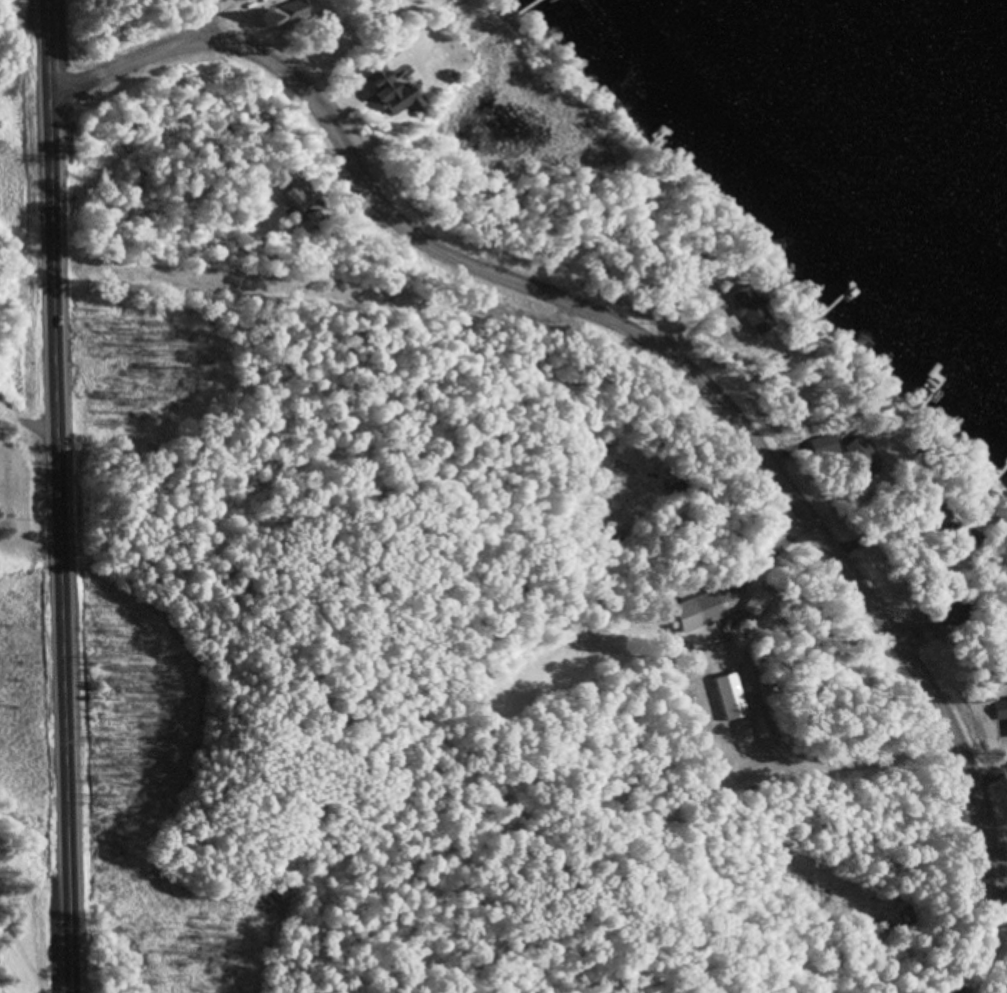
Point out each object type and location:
building: (277, 0)
building: (301, 11)
road: (253, 22)
road: (139, 52)
building: (406, 101)
building: (293, 199)
building: (755, 309)
road: (703, 379)
building: (828, 443)
road: (60, 496)
building: (955, 611)
building: (699, 612)
building: (729, 695)
building: (1001, 711)

